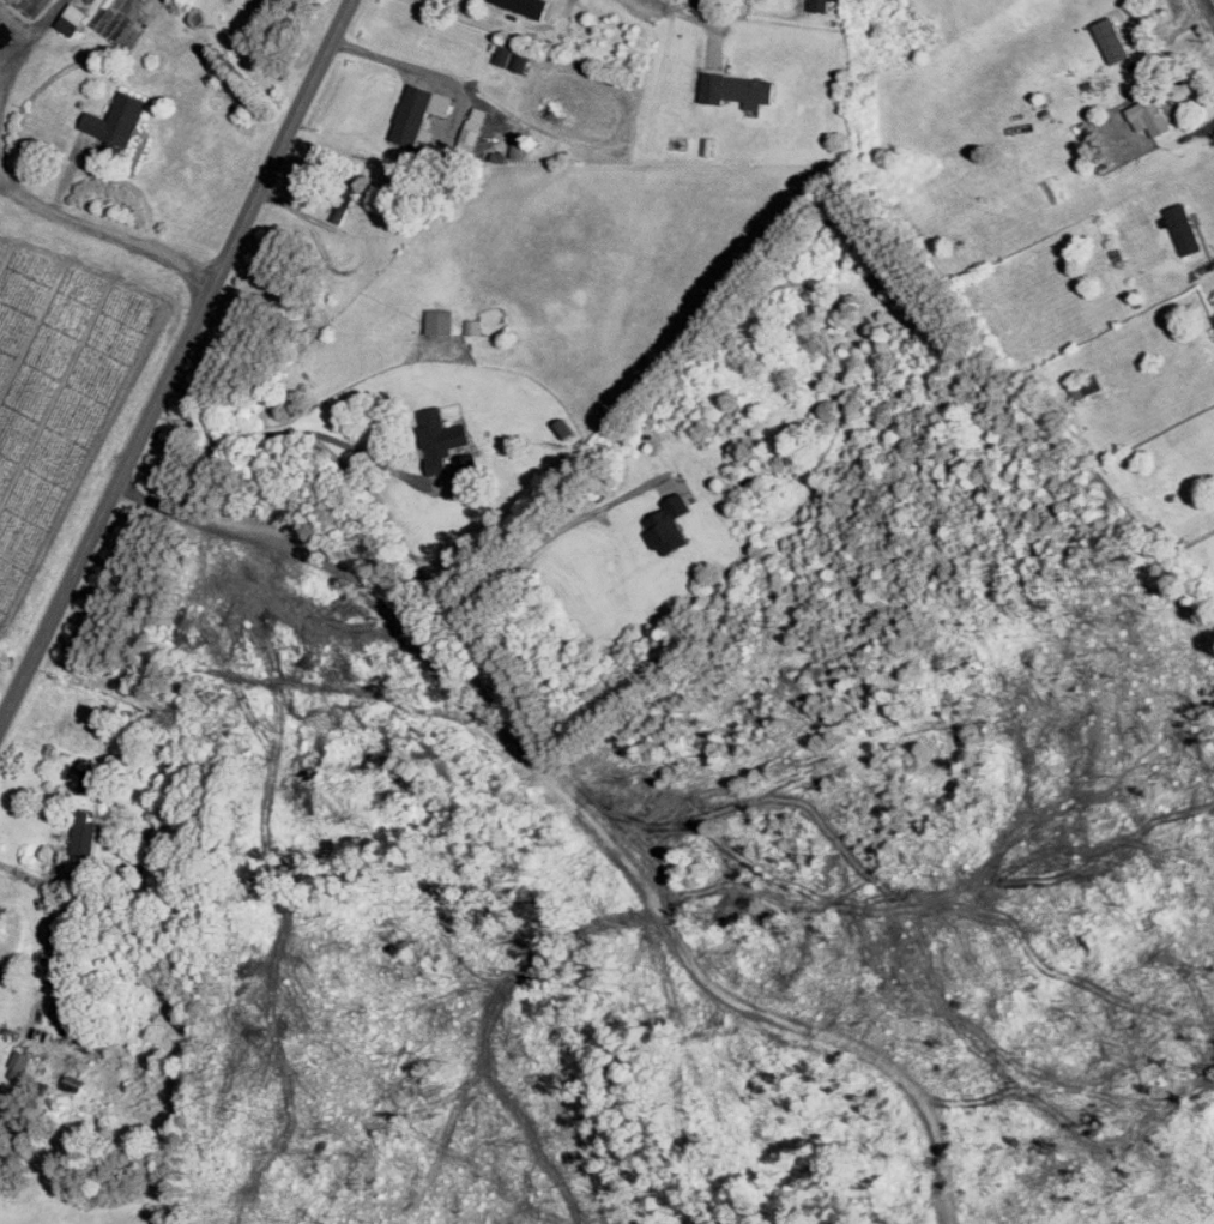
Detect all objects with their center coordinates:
road: (652, 1)
building: (32, 5)
building: (527, 5)
building: (820, 5)
road: (1209, 7)
building: (73, 18)
road: (31, 34)
building: (1113, 40)
building: (503, 54)
building: (521, 60)
road: (423, 71)
building: (737, 89)
building: (419, 110)
building: (1153, 114)
building: (119, 117)
building: (473, 129)
building: (519, 147)
building: (1184, 225)
road: (107, 230)
building: (441, 319)
building: (473, 325)
road: (176, 364)
building: (1086, 385)
building: (442, 436)
building: (469, 465)
building: (671, 523)
road: (403, 548)
building: (91, 778)
building: (85, 832)
building: (147, 840)
building: (74, 1081)

